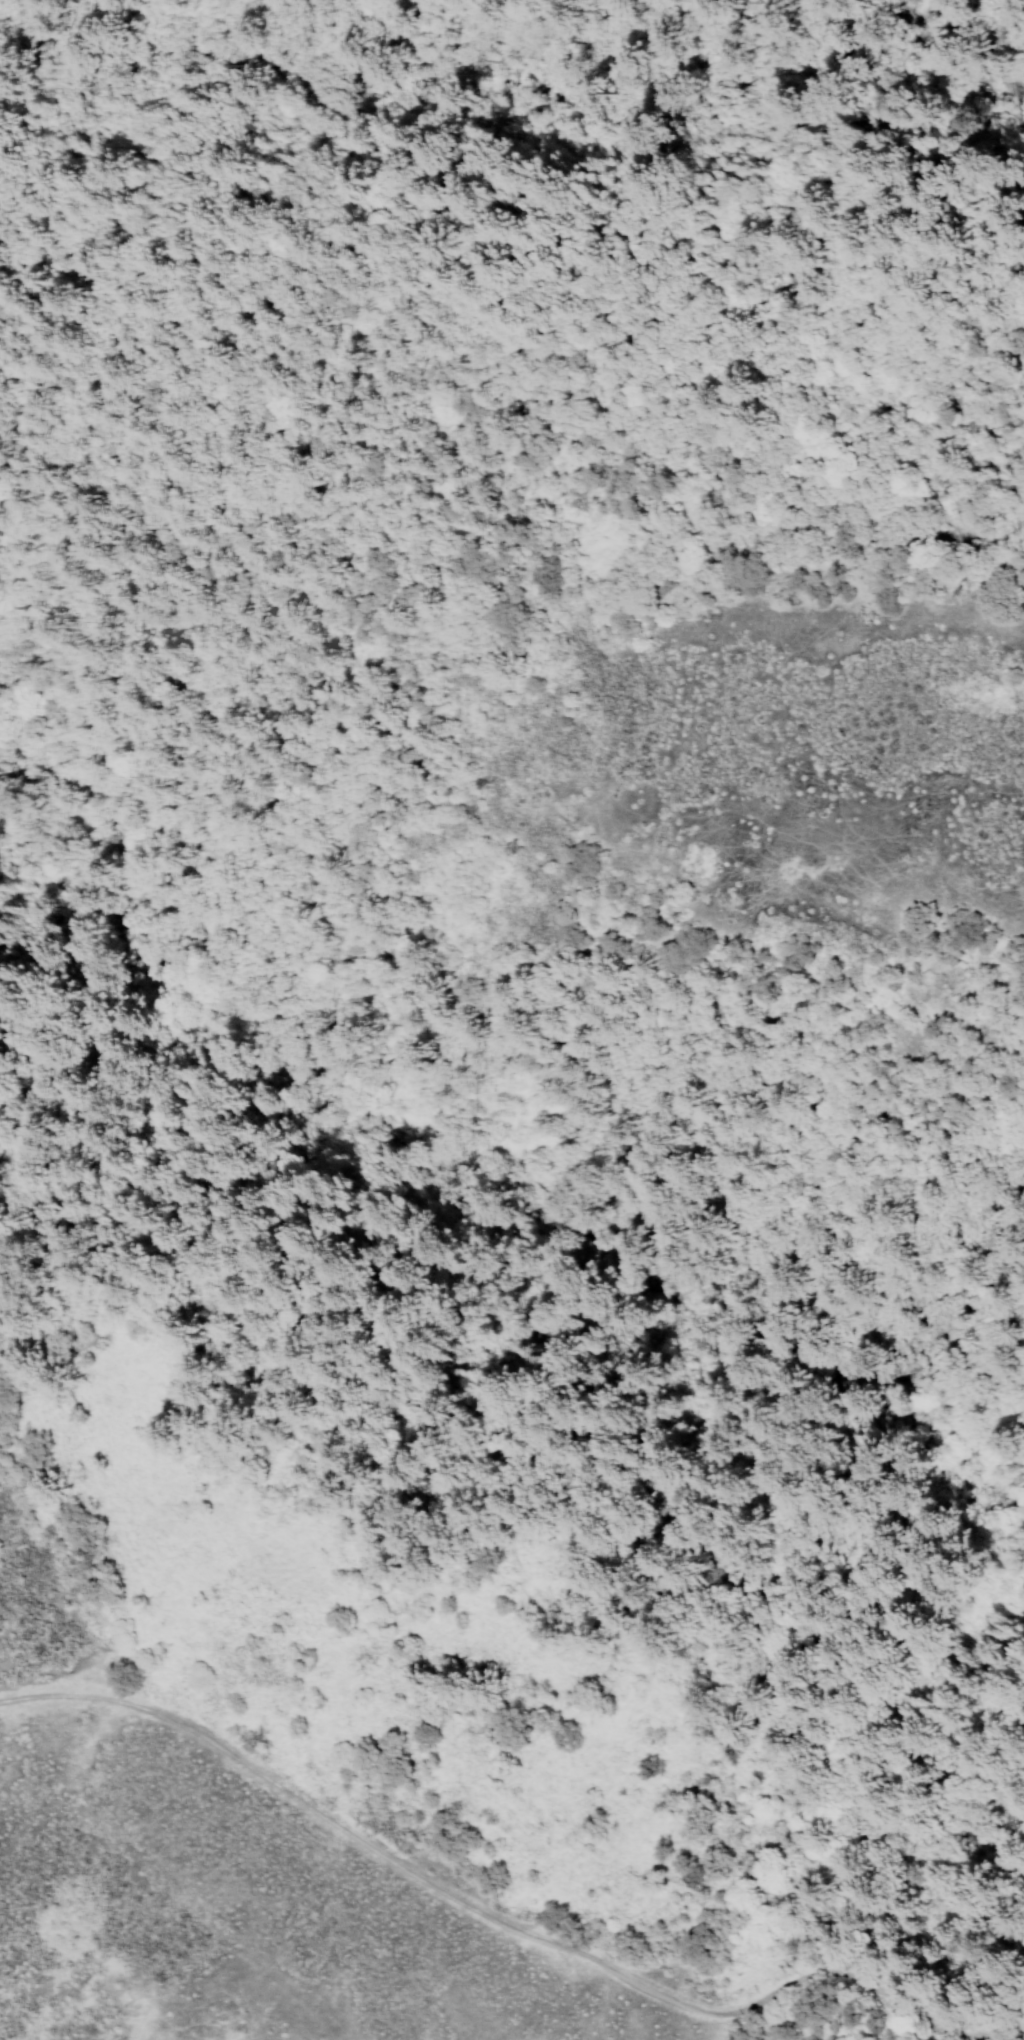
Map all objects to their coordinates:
road: (503, 1926)

